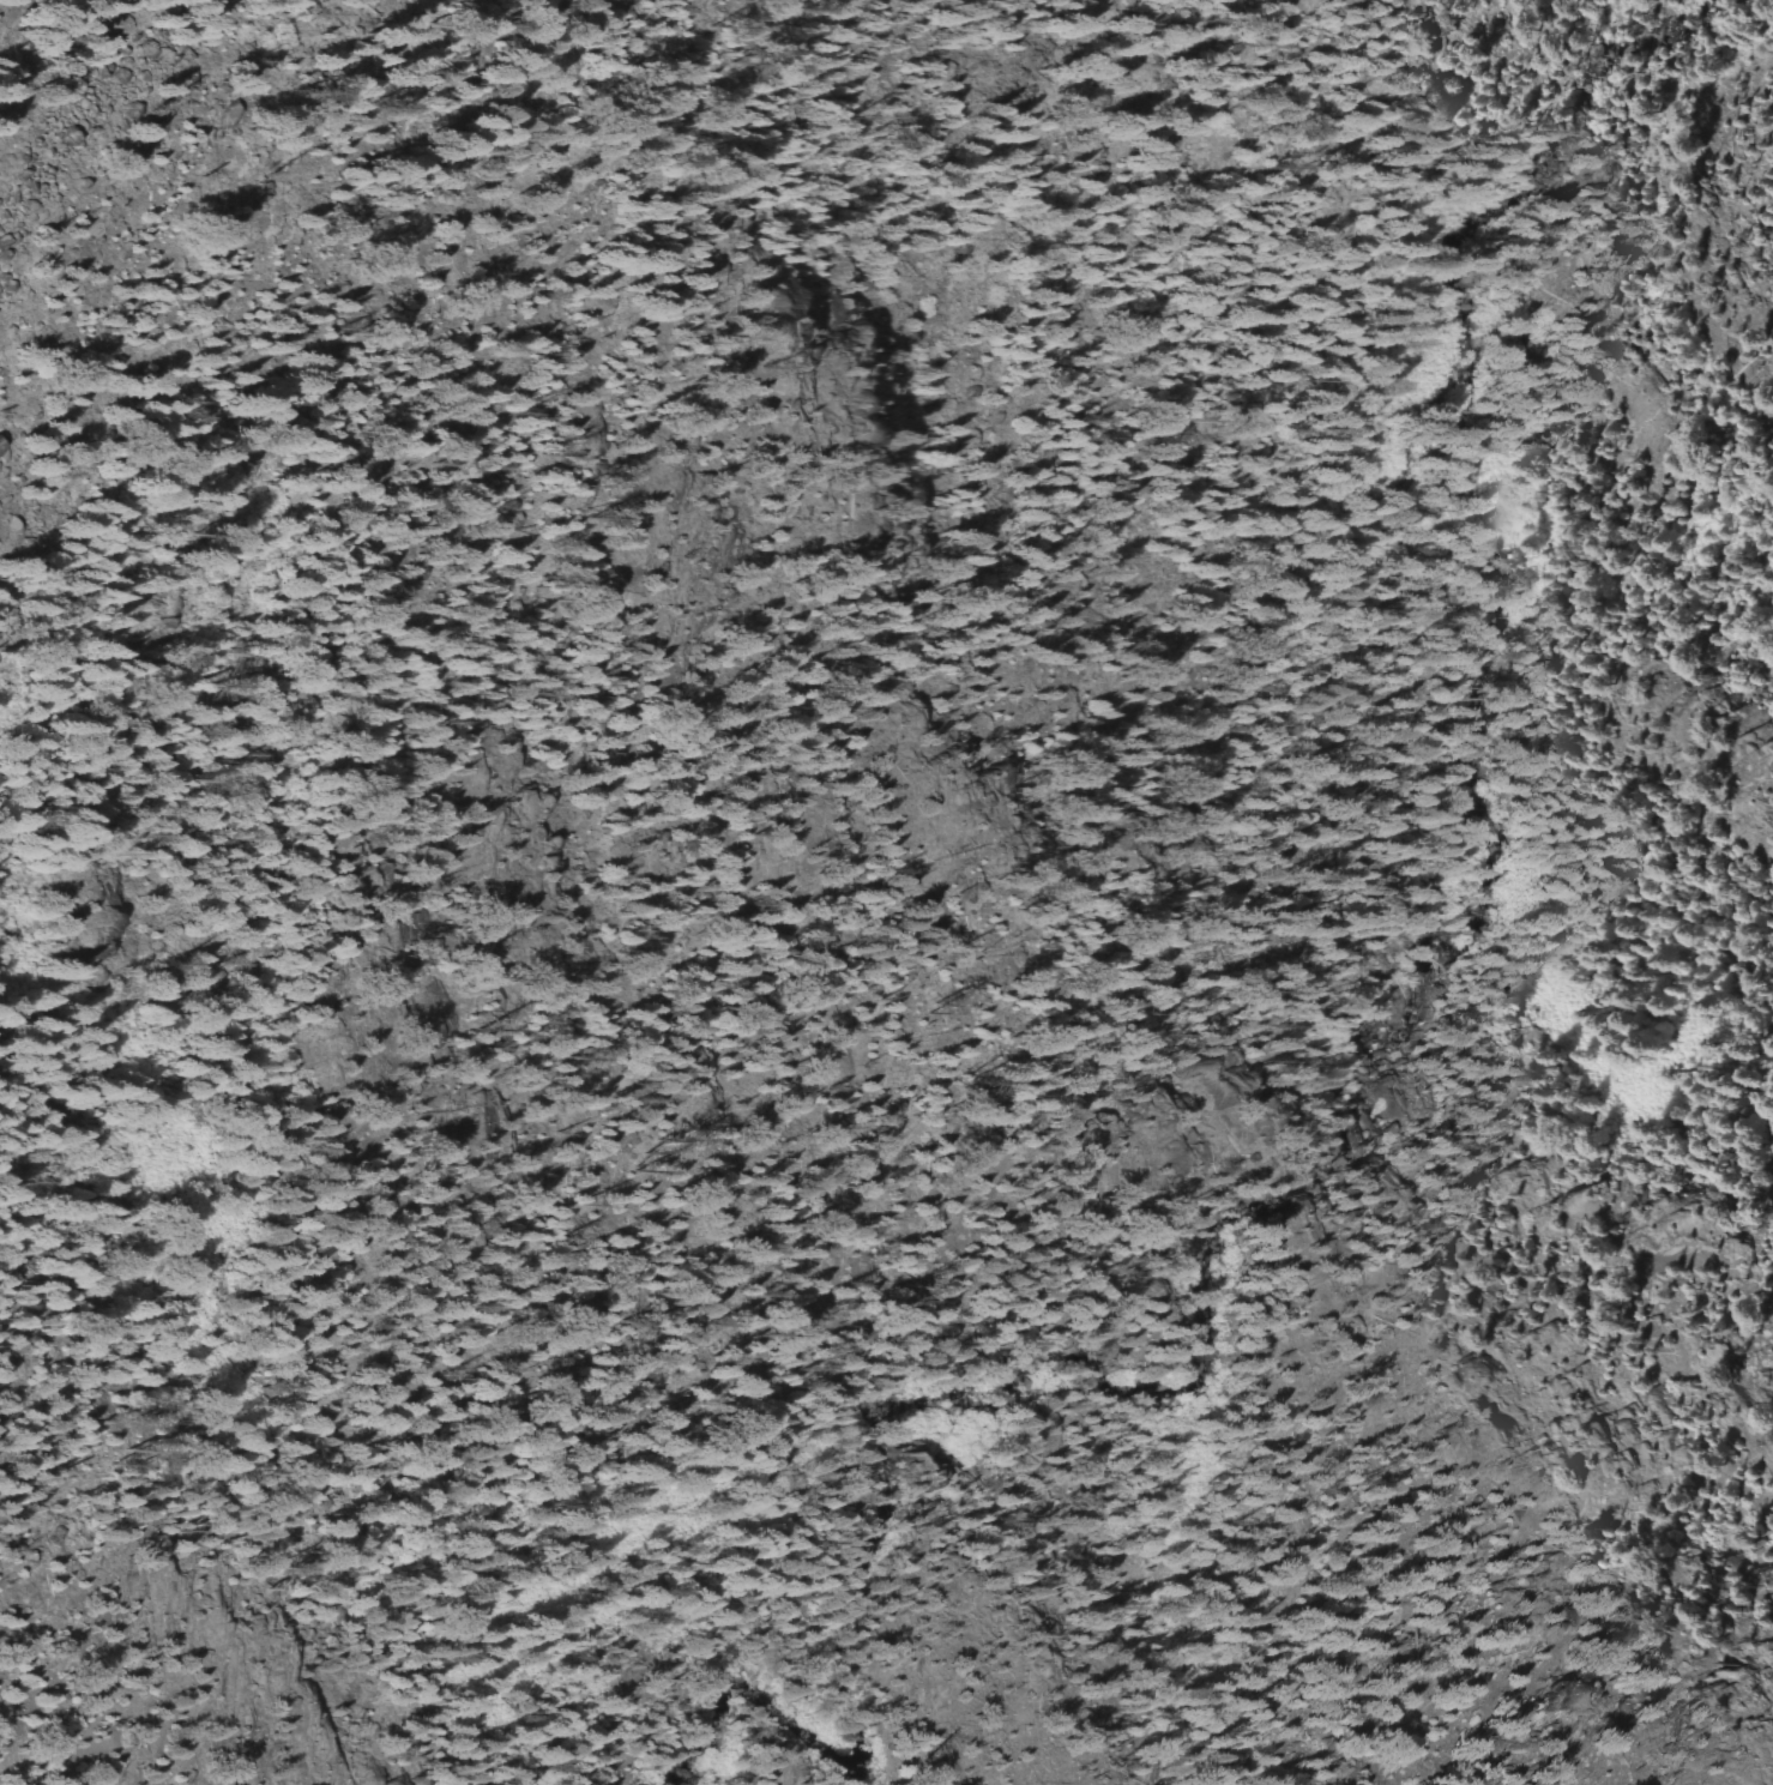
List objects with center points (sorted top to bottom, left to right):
road: (1338, 464)

